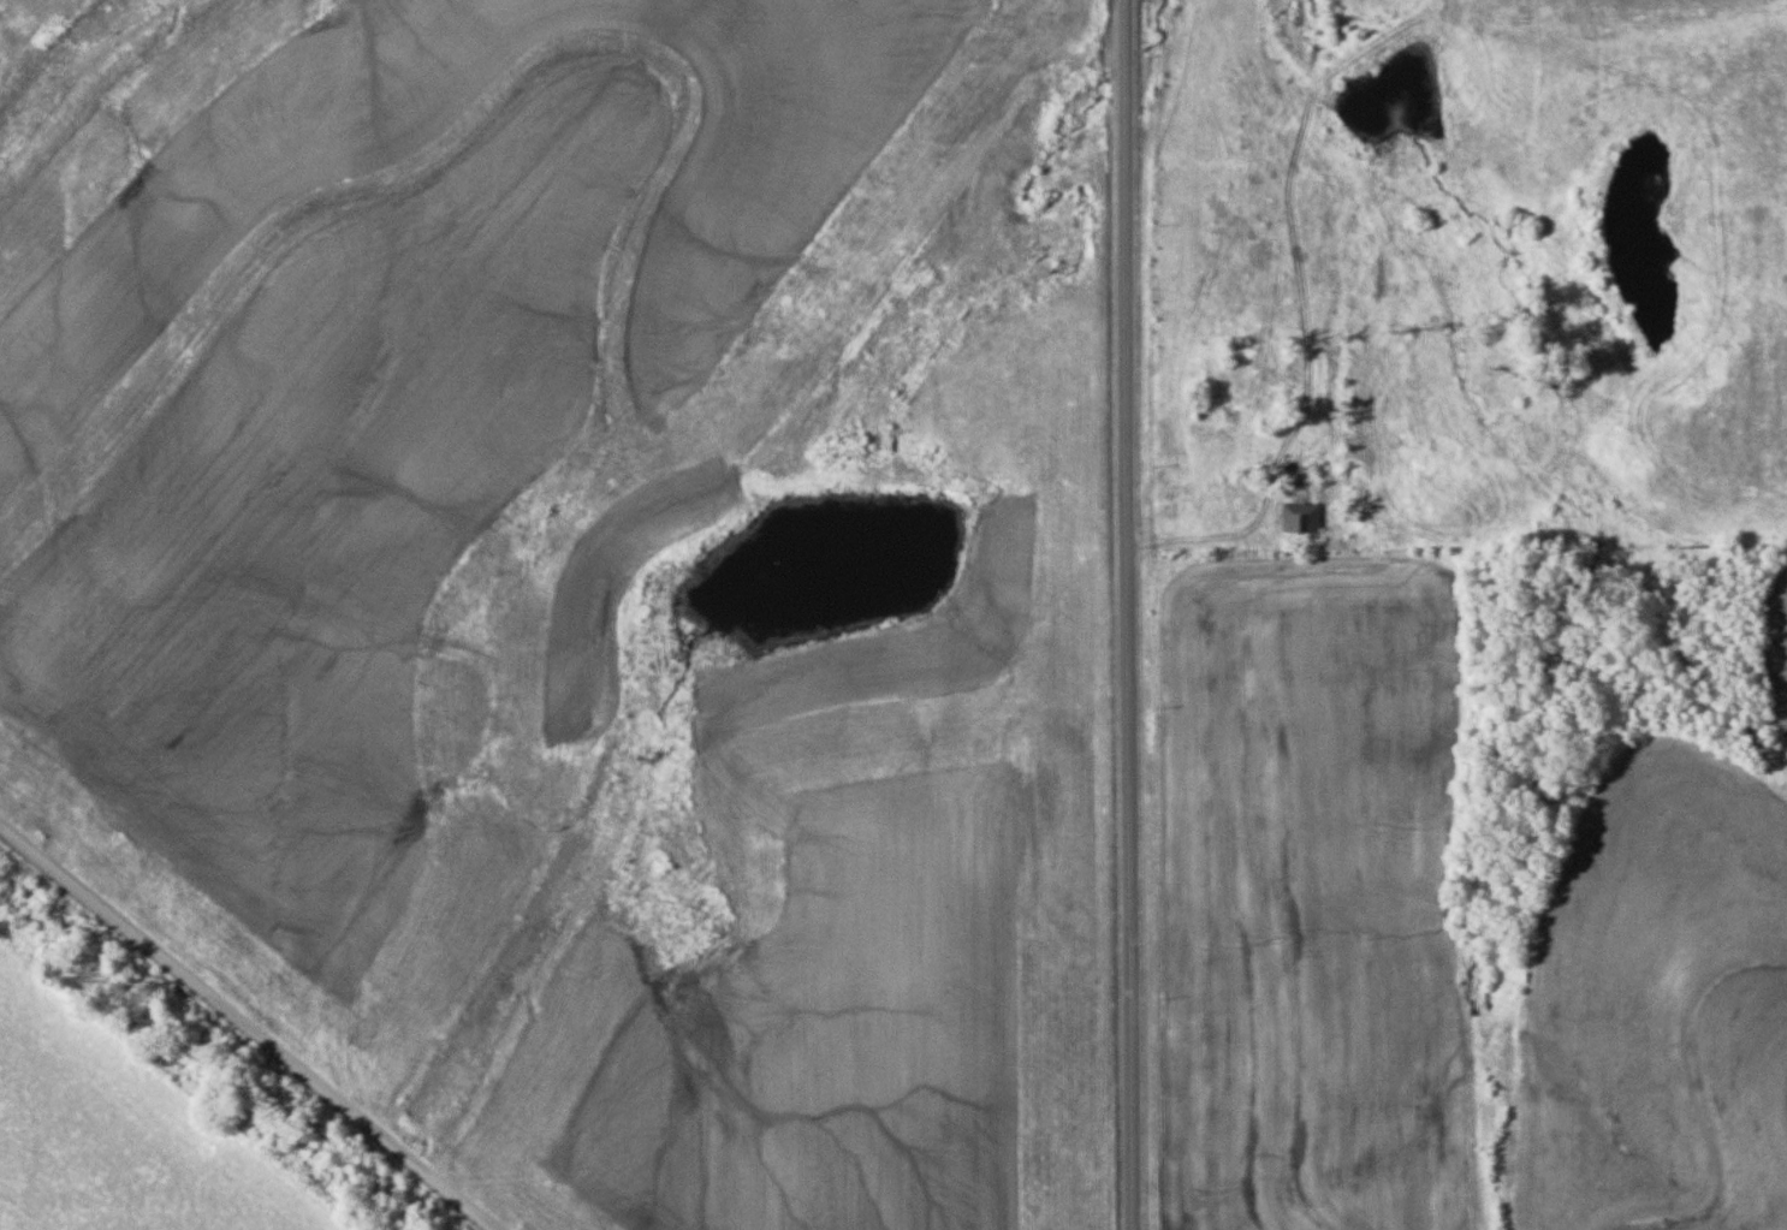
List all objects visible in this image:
building: (1300, 517)
road: (1207, 545)
road: (1122, 614)
road: (245, 1029)

